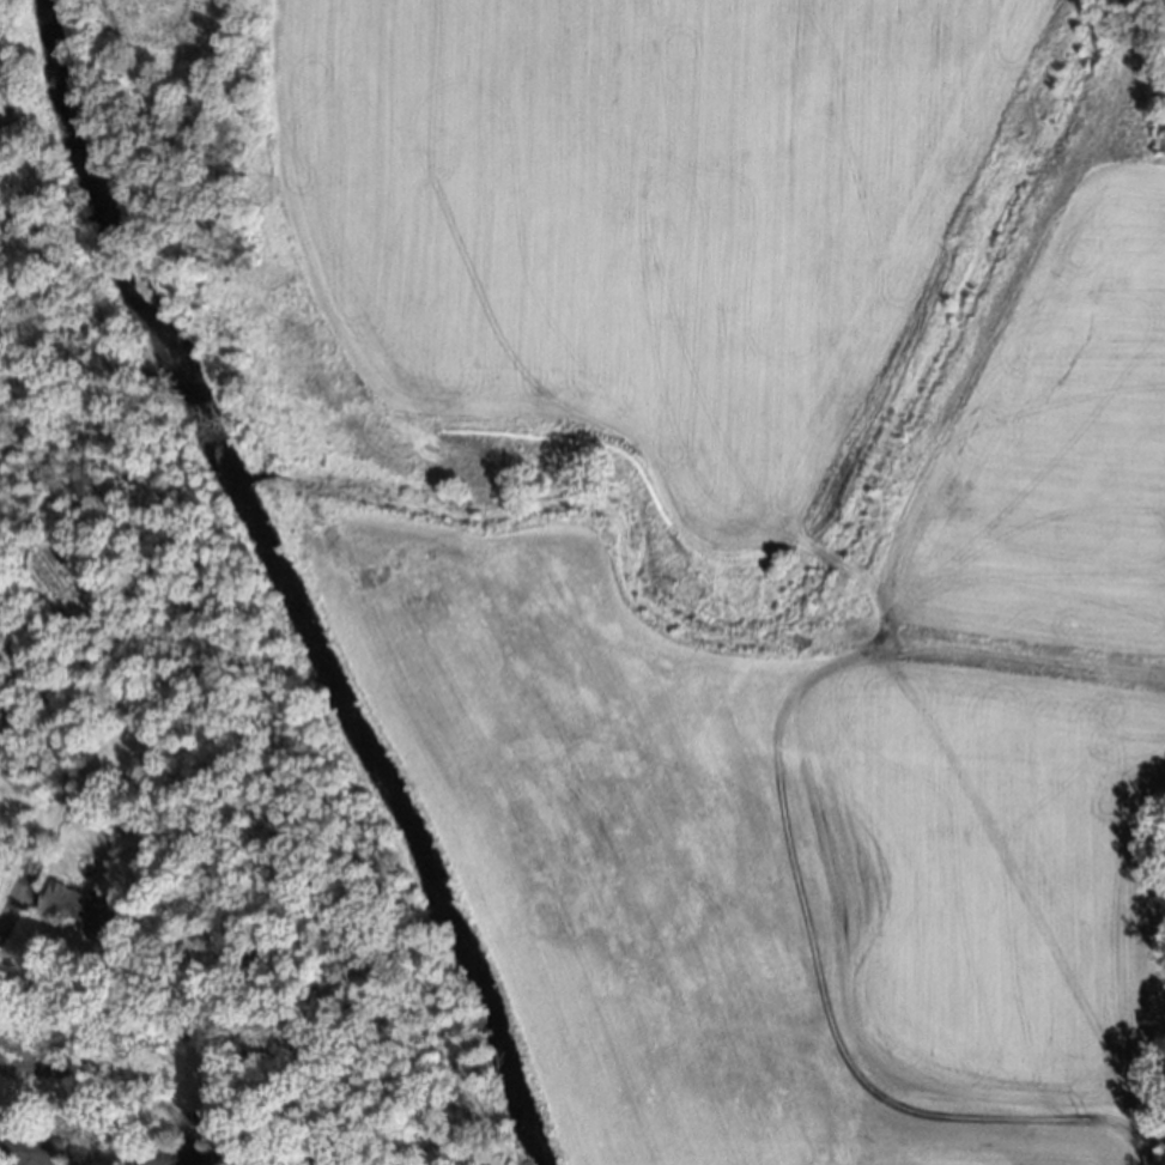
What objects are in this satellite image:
crop: (163, 25)
crop: (2, 115)
crop: (748, 534)
road: (6, 908)
building: (80, 909)
building: (37, 1152)
building: (178, 1157)

